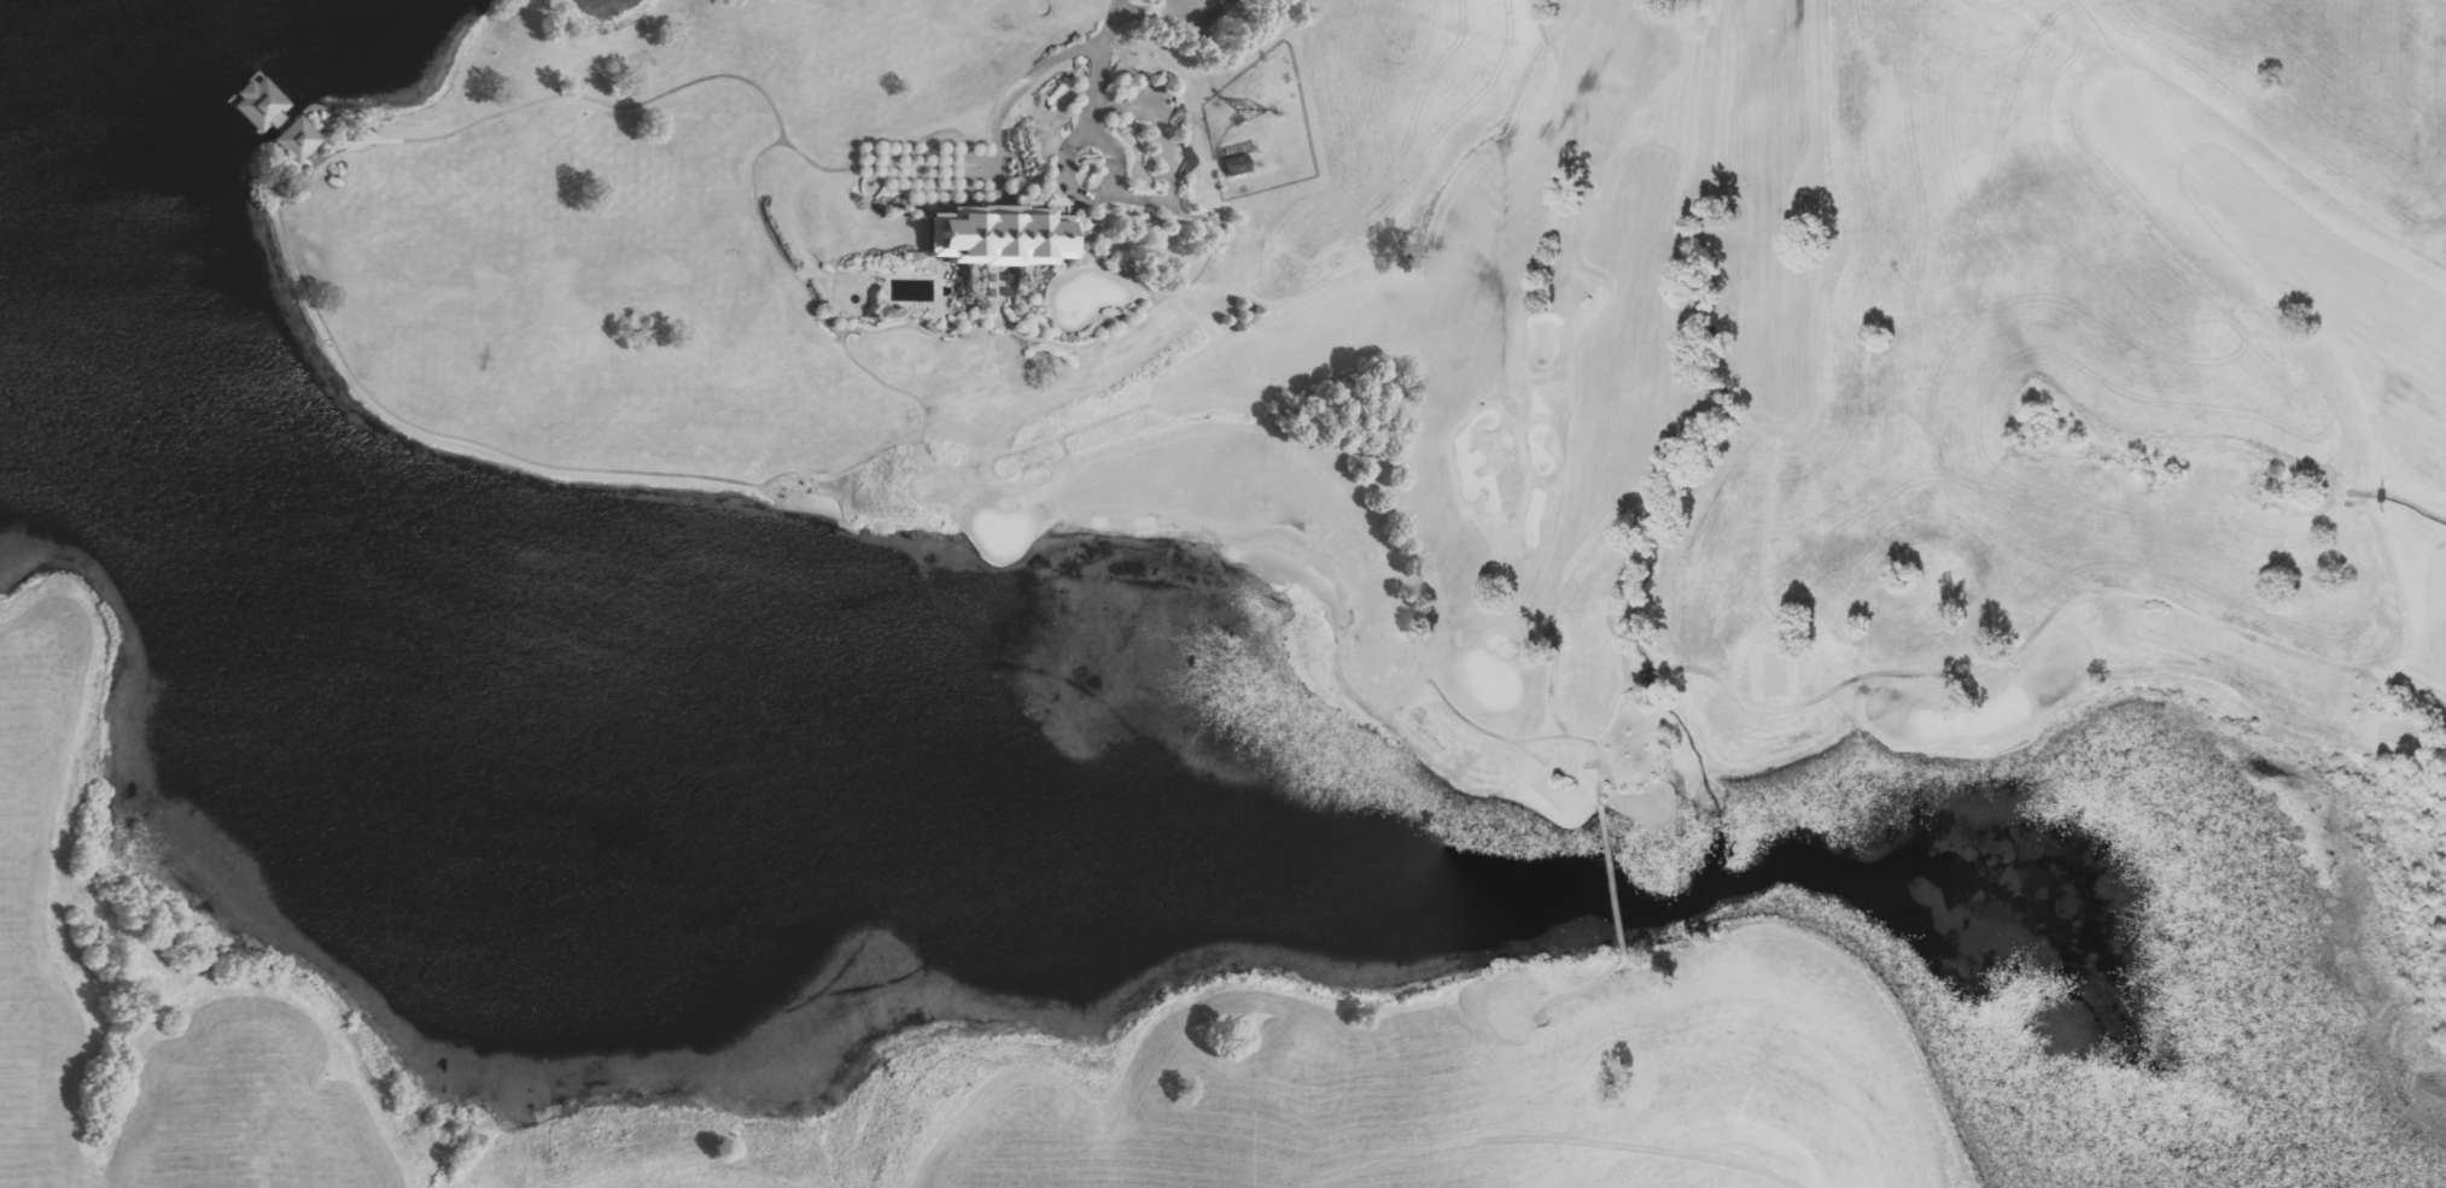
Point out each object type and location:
road: (1098, 58)
building: (262, 106)
building: (294, 141)
building: (997, 240)

